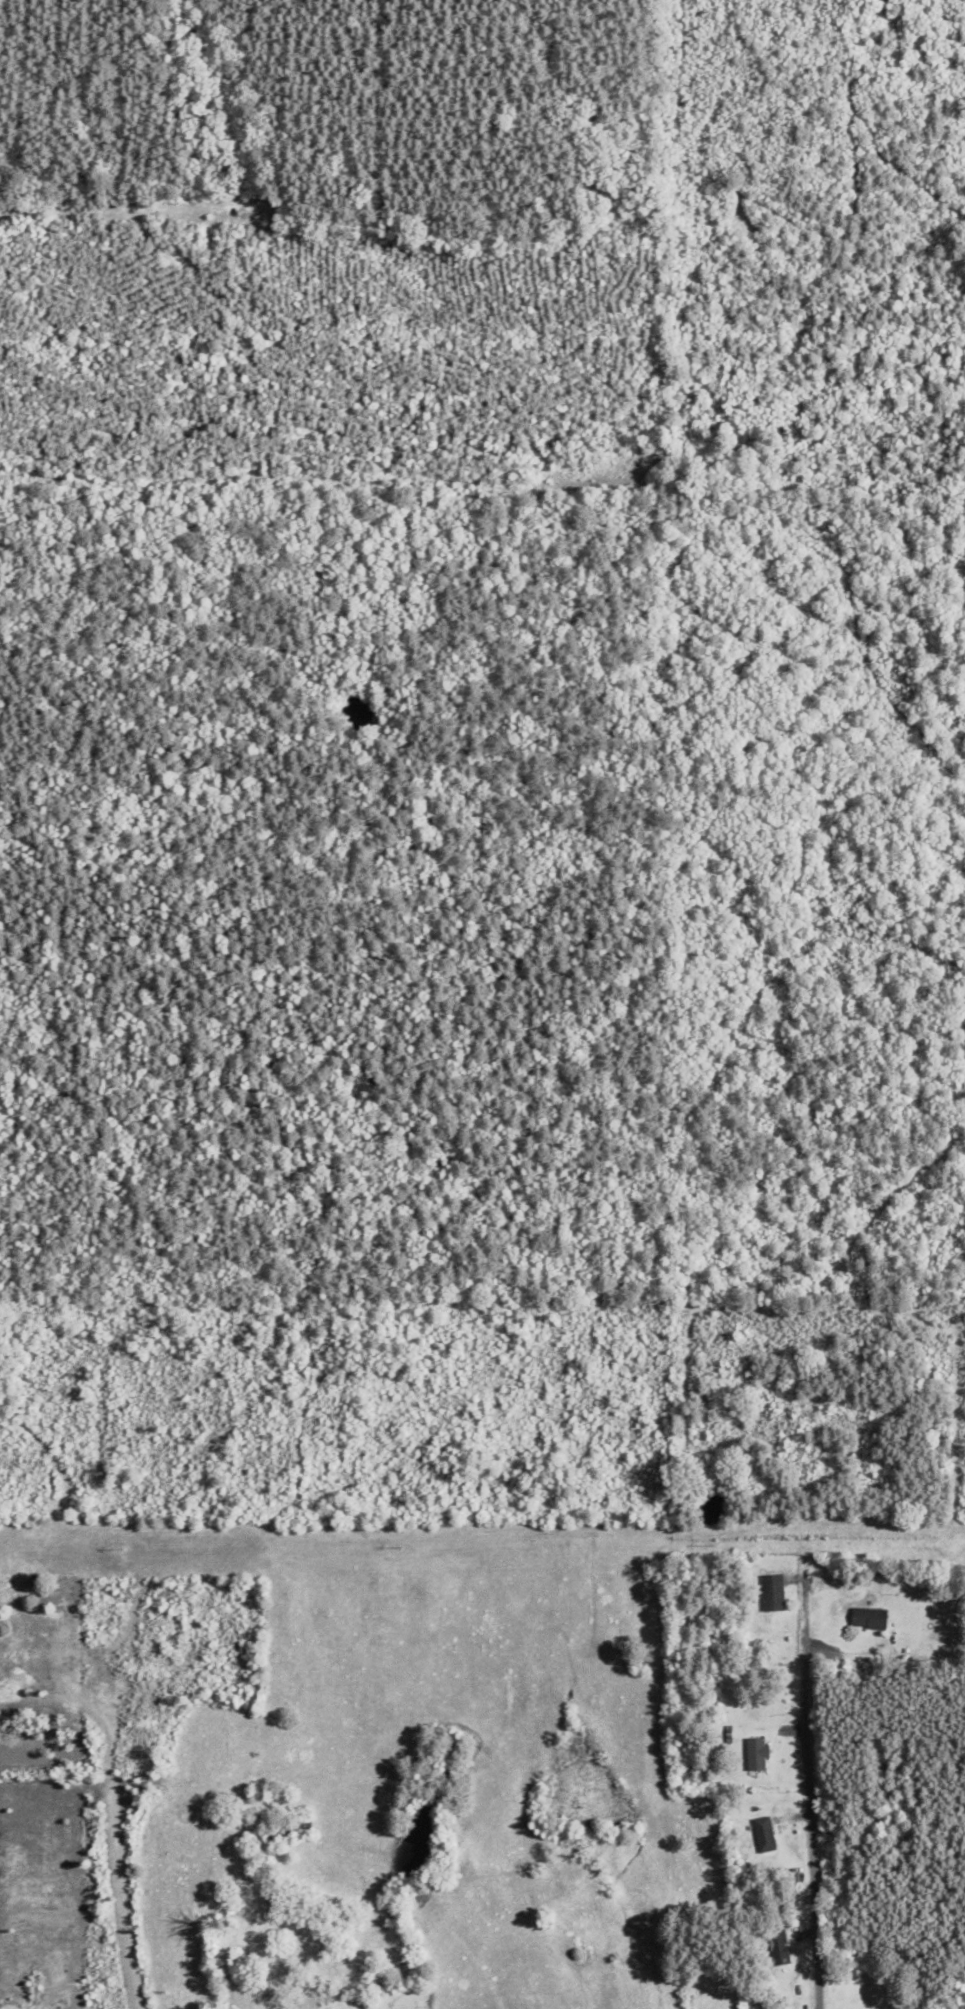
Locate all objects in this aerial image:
building: (771, 1594)
building: (866, 1619)
road: (89, 1718)
building: (752, 1719)
building: (755, 1755)
road: (808, 1812)
building: (763, 1836)
building: (776, 1949)
building: (863, 2001)

